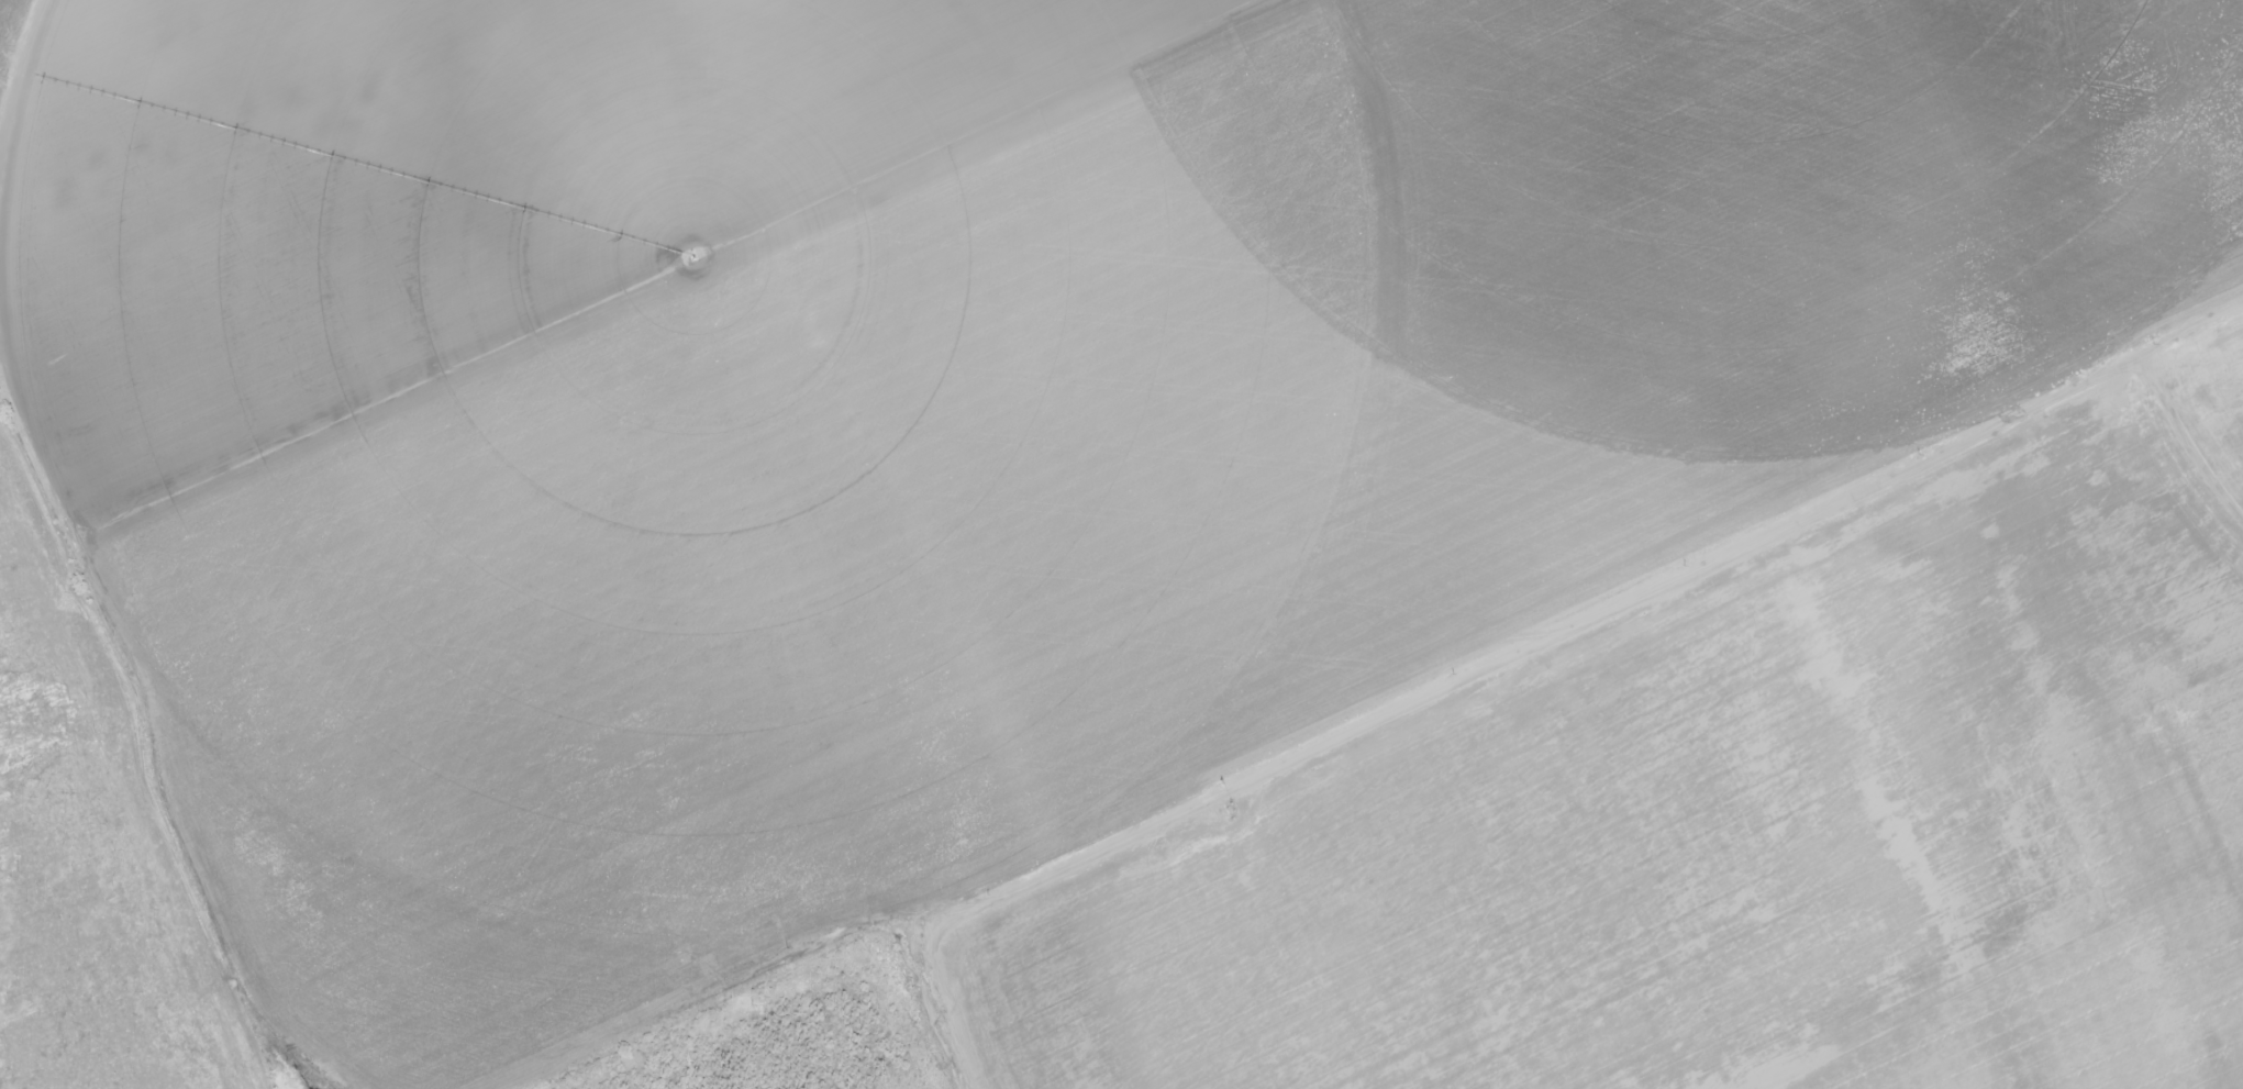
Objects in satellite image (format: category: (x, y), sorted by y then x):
road: (943, 564)

